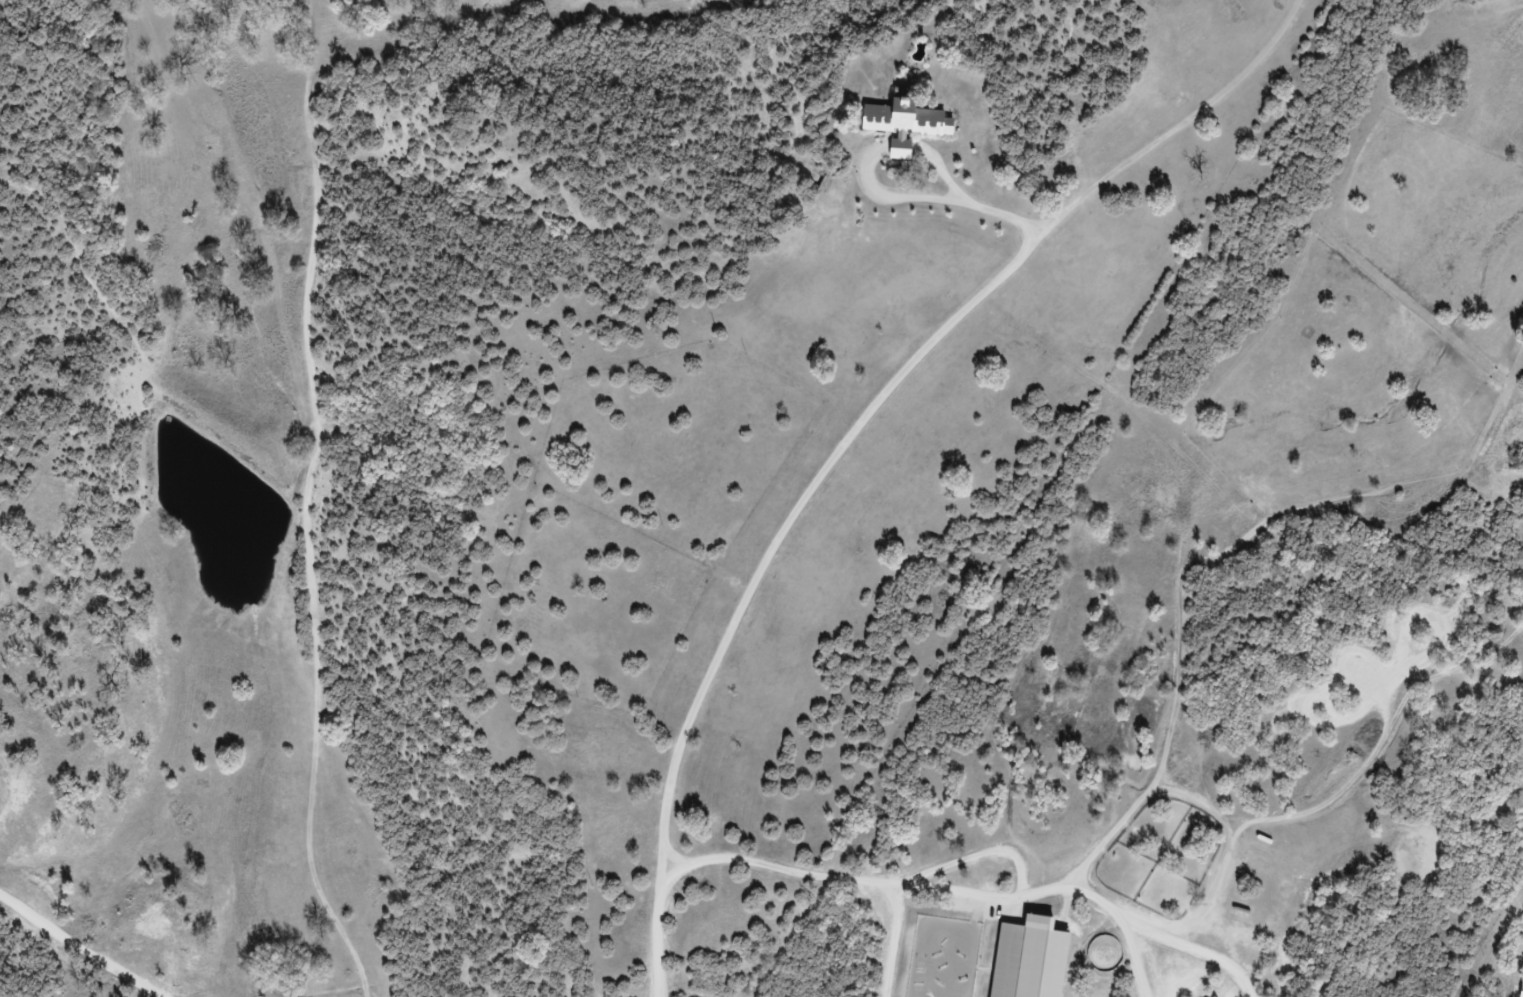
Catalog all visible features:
building: (897, 128)
road: (807, 874)
road: (1114, 914)
road: (80, 957)

